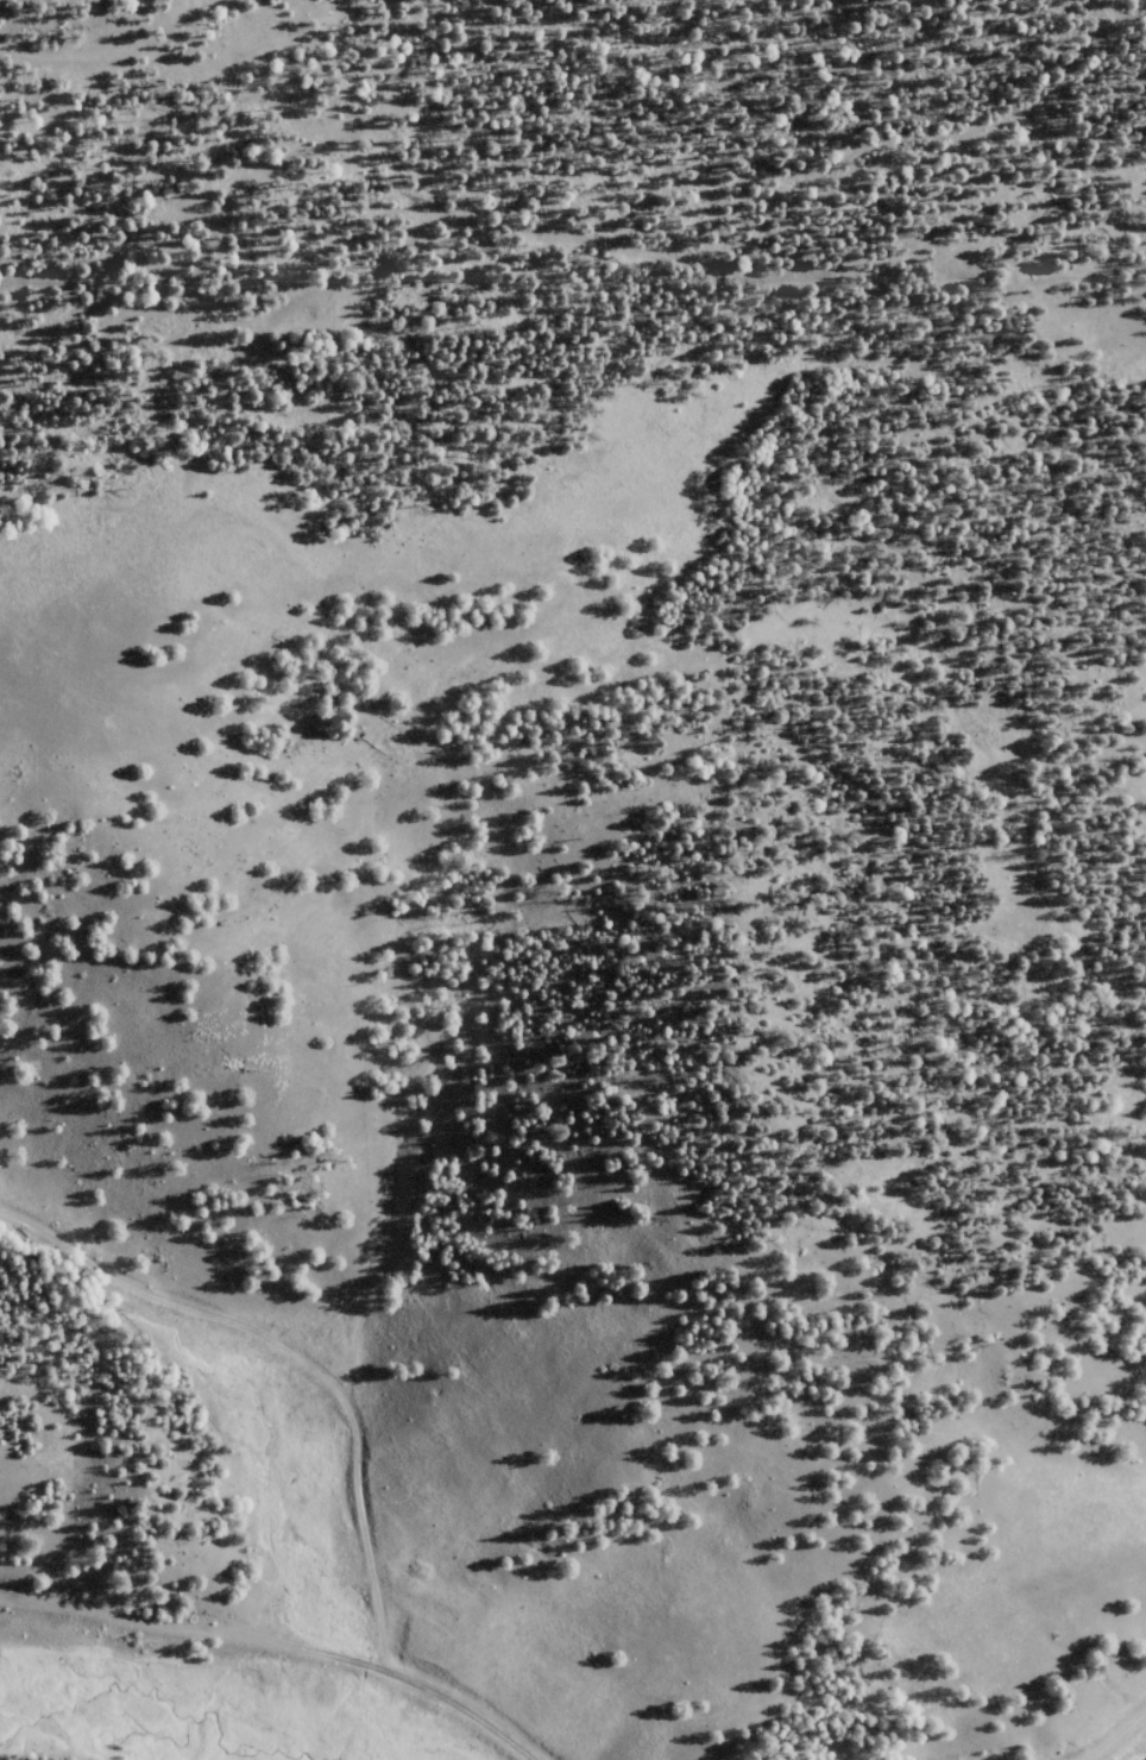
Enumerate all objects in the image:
road: (518, 196)
road: (327, 1334)
road: (317, 1645)
road: (1110, 1746)

